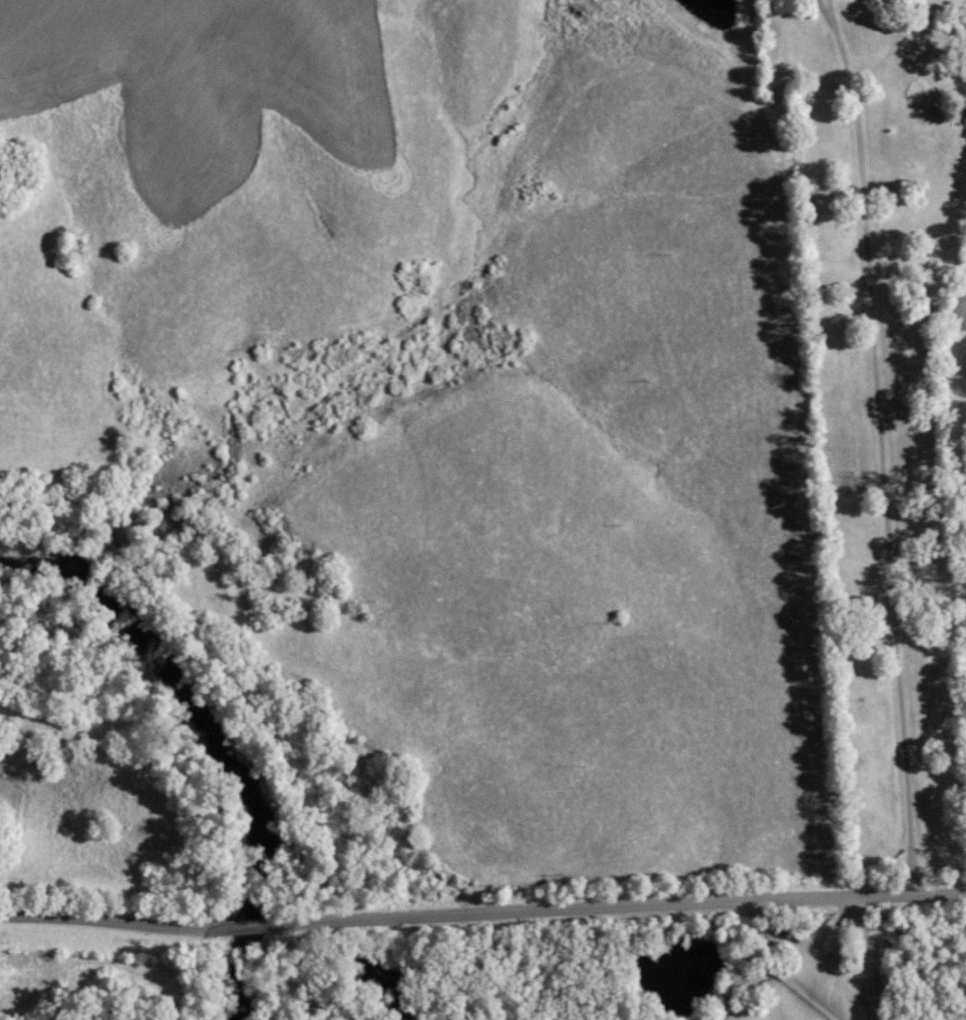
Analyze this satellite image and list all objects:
road: (823, 7)
road: (830, 7)
road: (881, 452)
road: (482, 912)
road: (864, 957)
road: (768, 959)

